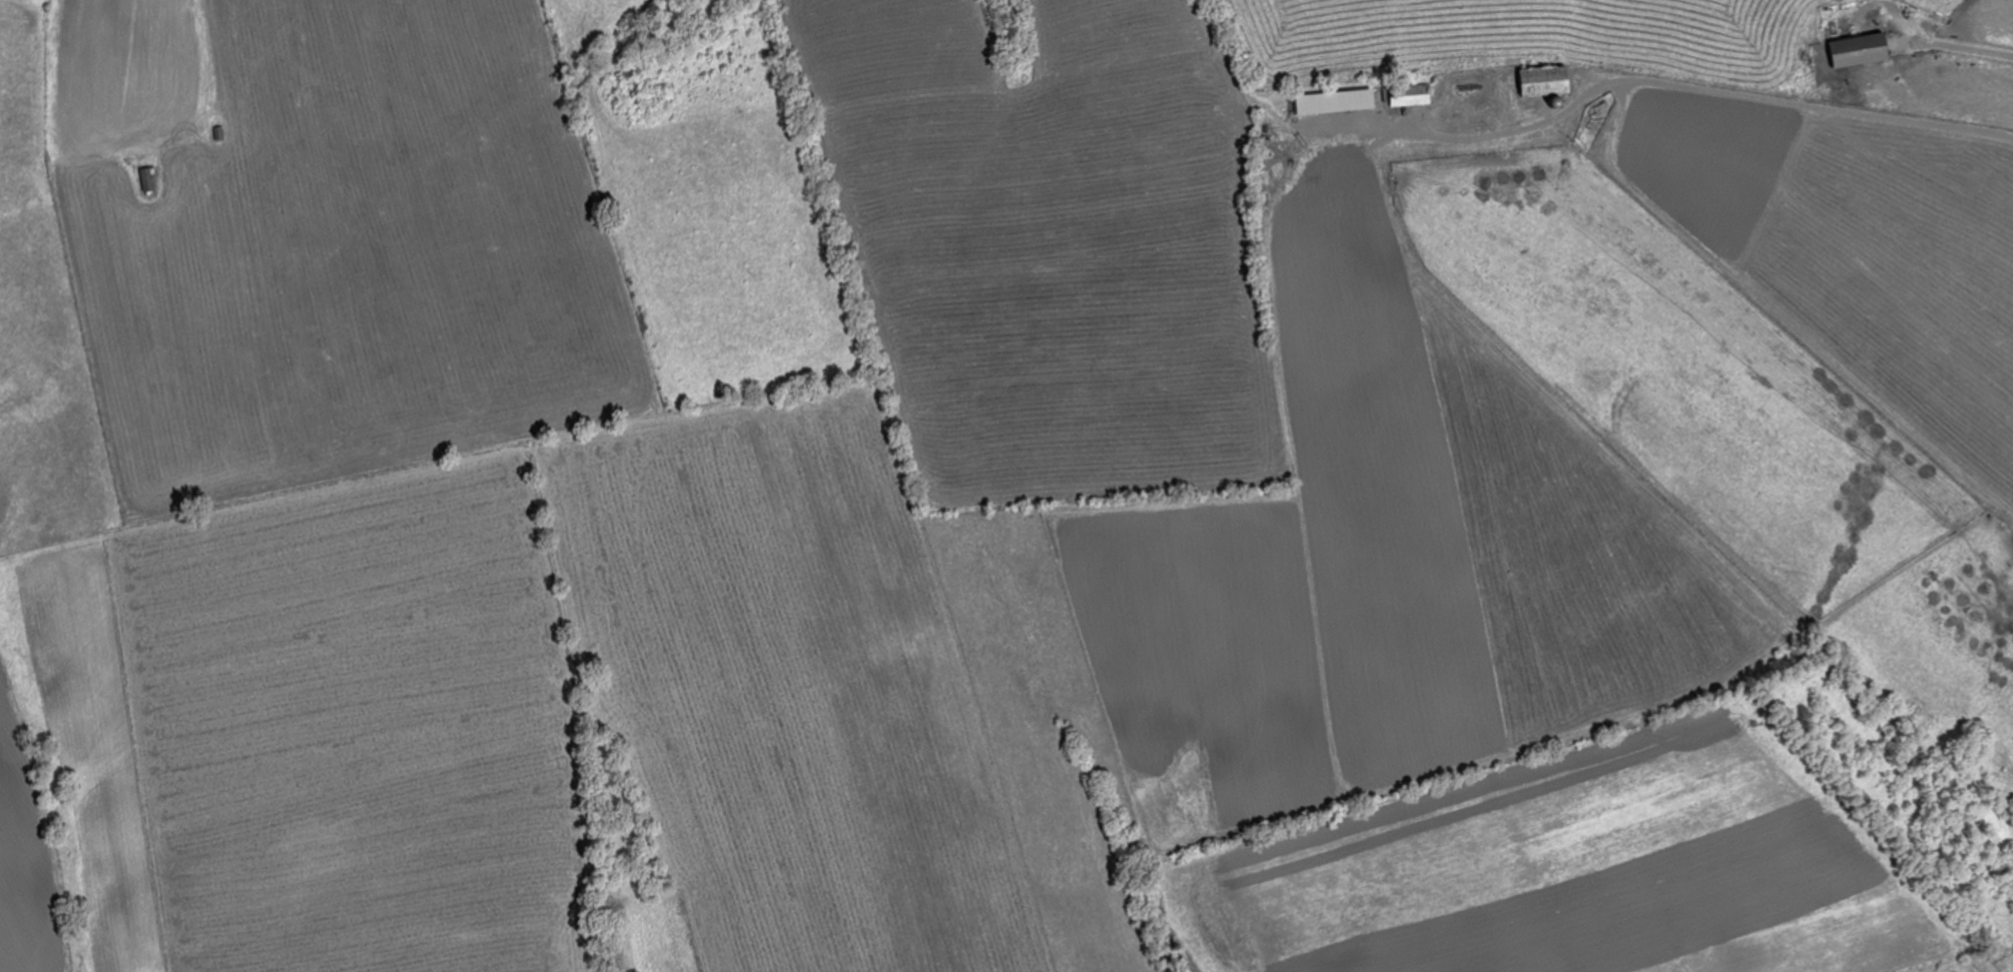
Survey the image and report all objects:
building: (1861, 50)
building: (1546, 81)
building: (1411, 95)
building: (149, 180)
road: (269, 434)

